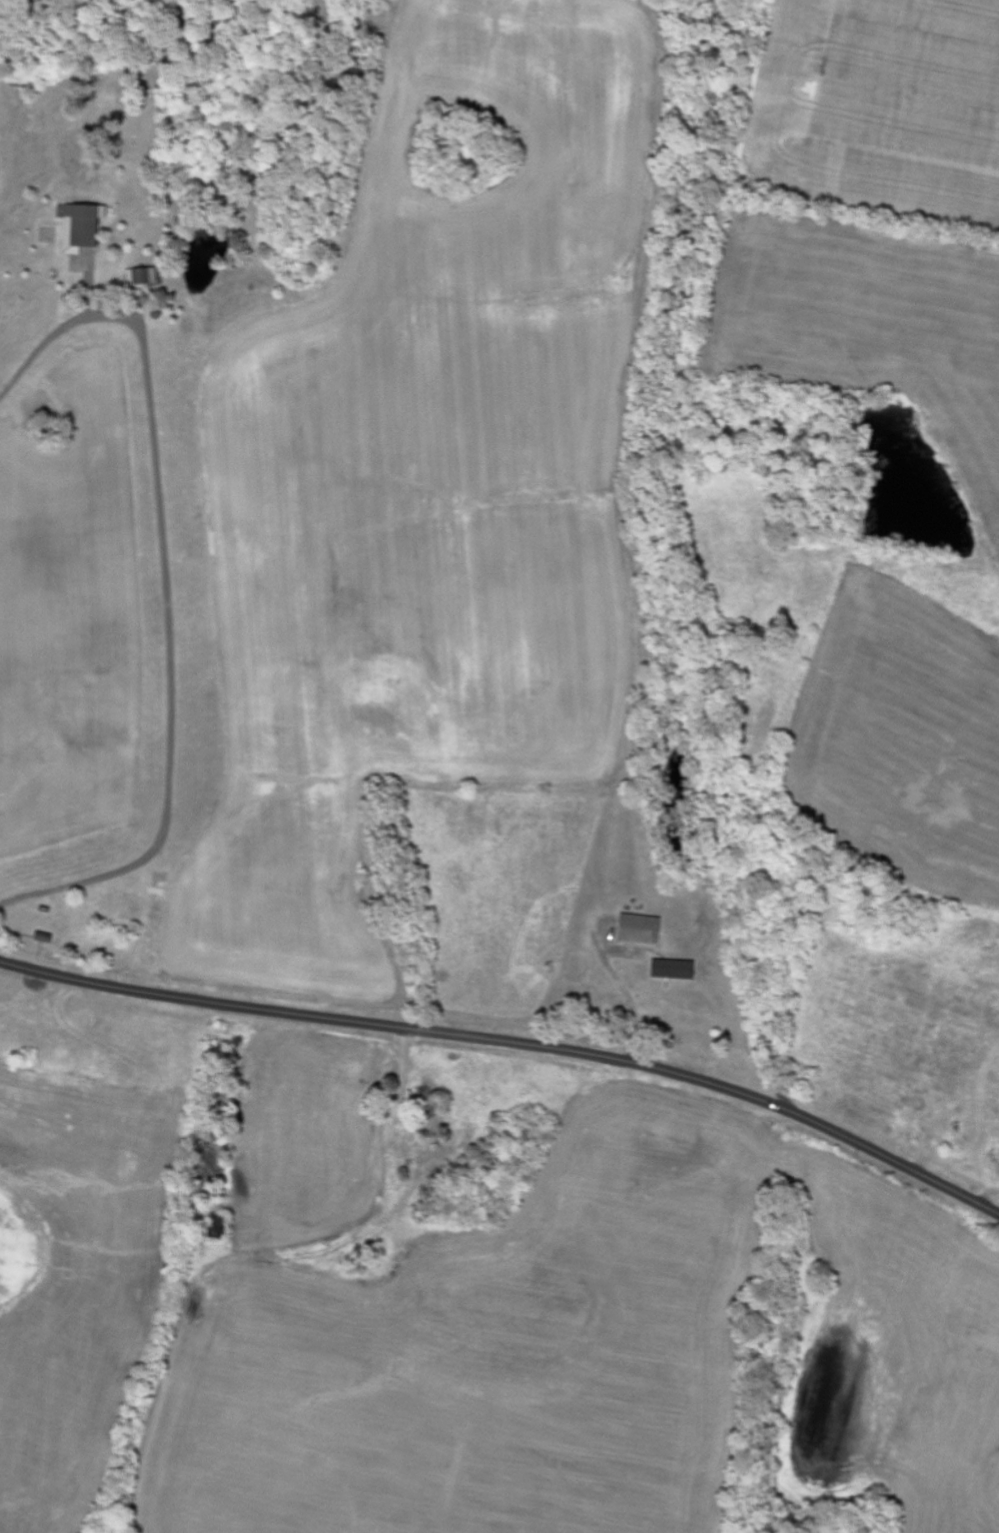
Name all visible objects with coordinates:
building: (89, 224)
building: (84, 263)
building: (146, 277)
road: (168, 583)
building: (637, 929)
building: (673, 969)
road: (512, 1042)

